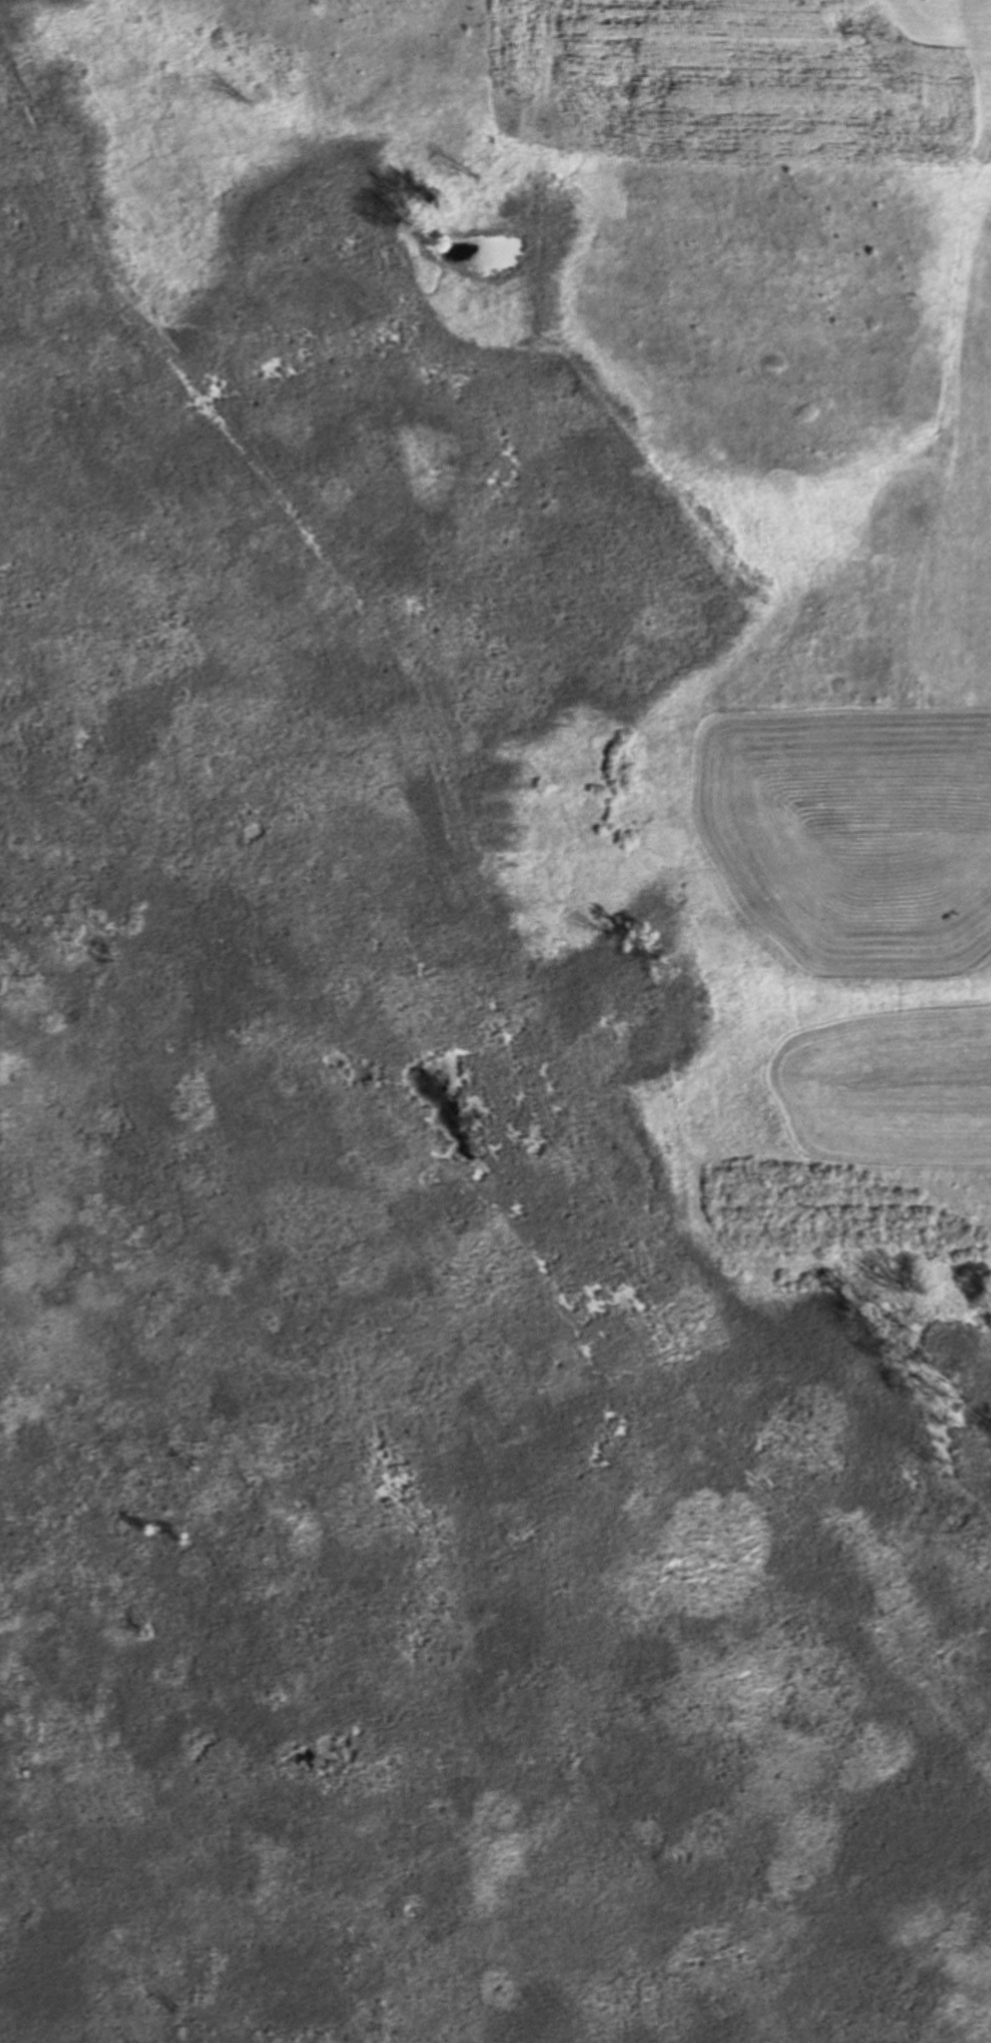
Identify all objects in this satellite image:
building: (988, 6)

